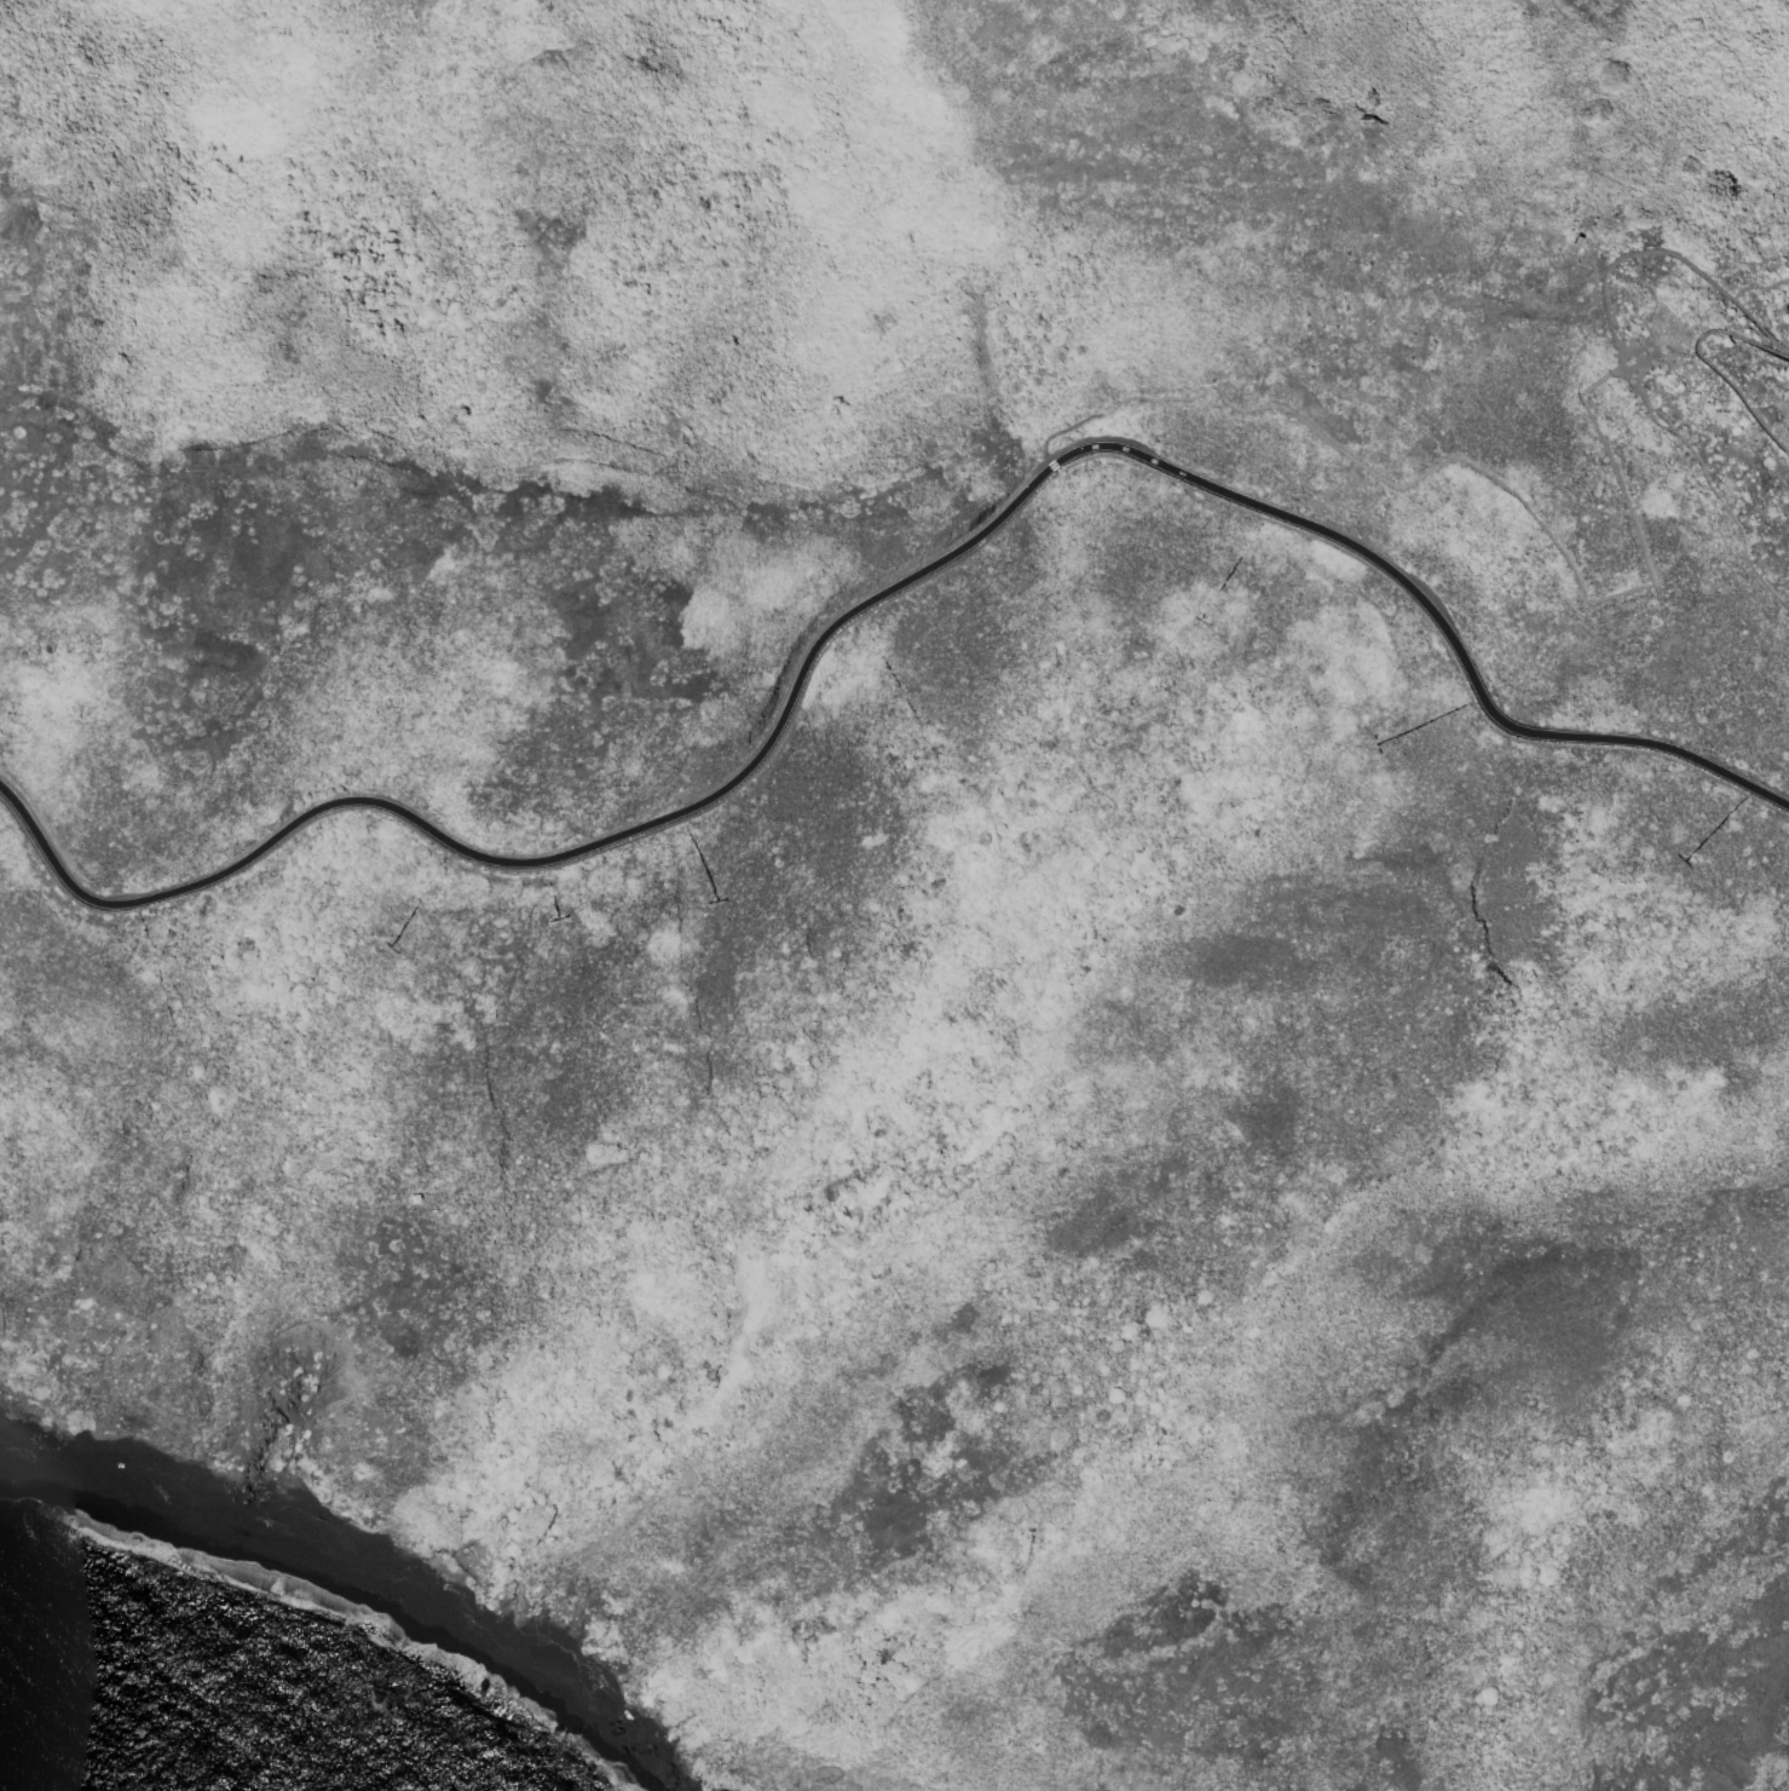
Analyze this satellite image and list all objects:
road: (1684, 260)
road: (1788, 311)
road: (1614, 344)
road: (1649, 349)
road: (1706, 359)
road: (1628, 361)
road: (1218, 390)
road: (1060, 431)
road: (1341, 450)
road: (1710, 482)
road: (1523, 503)
road: (1633, 520)
road: (964, 551)
road: (561, 865)
road: (58, 869)

